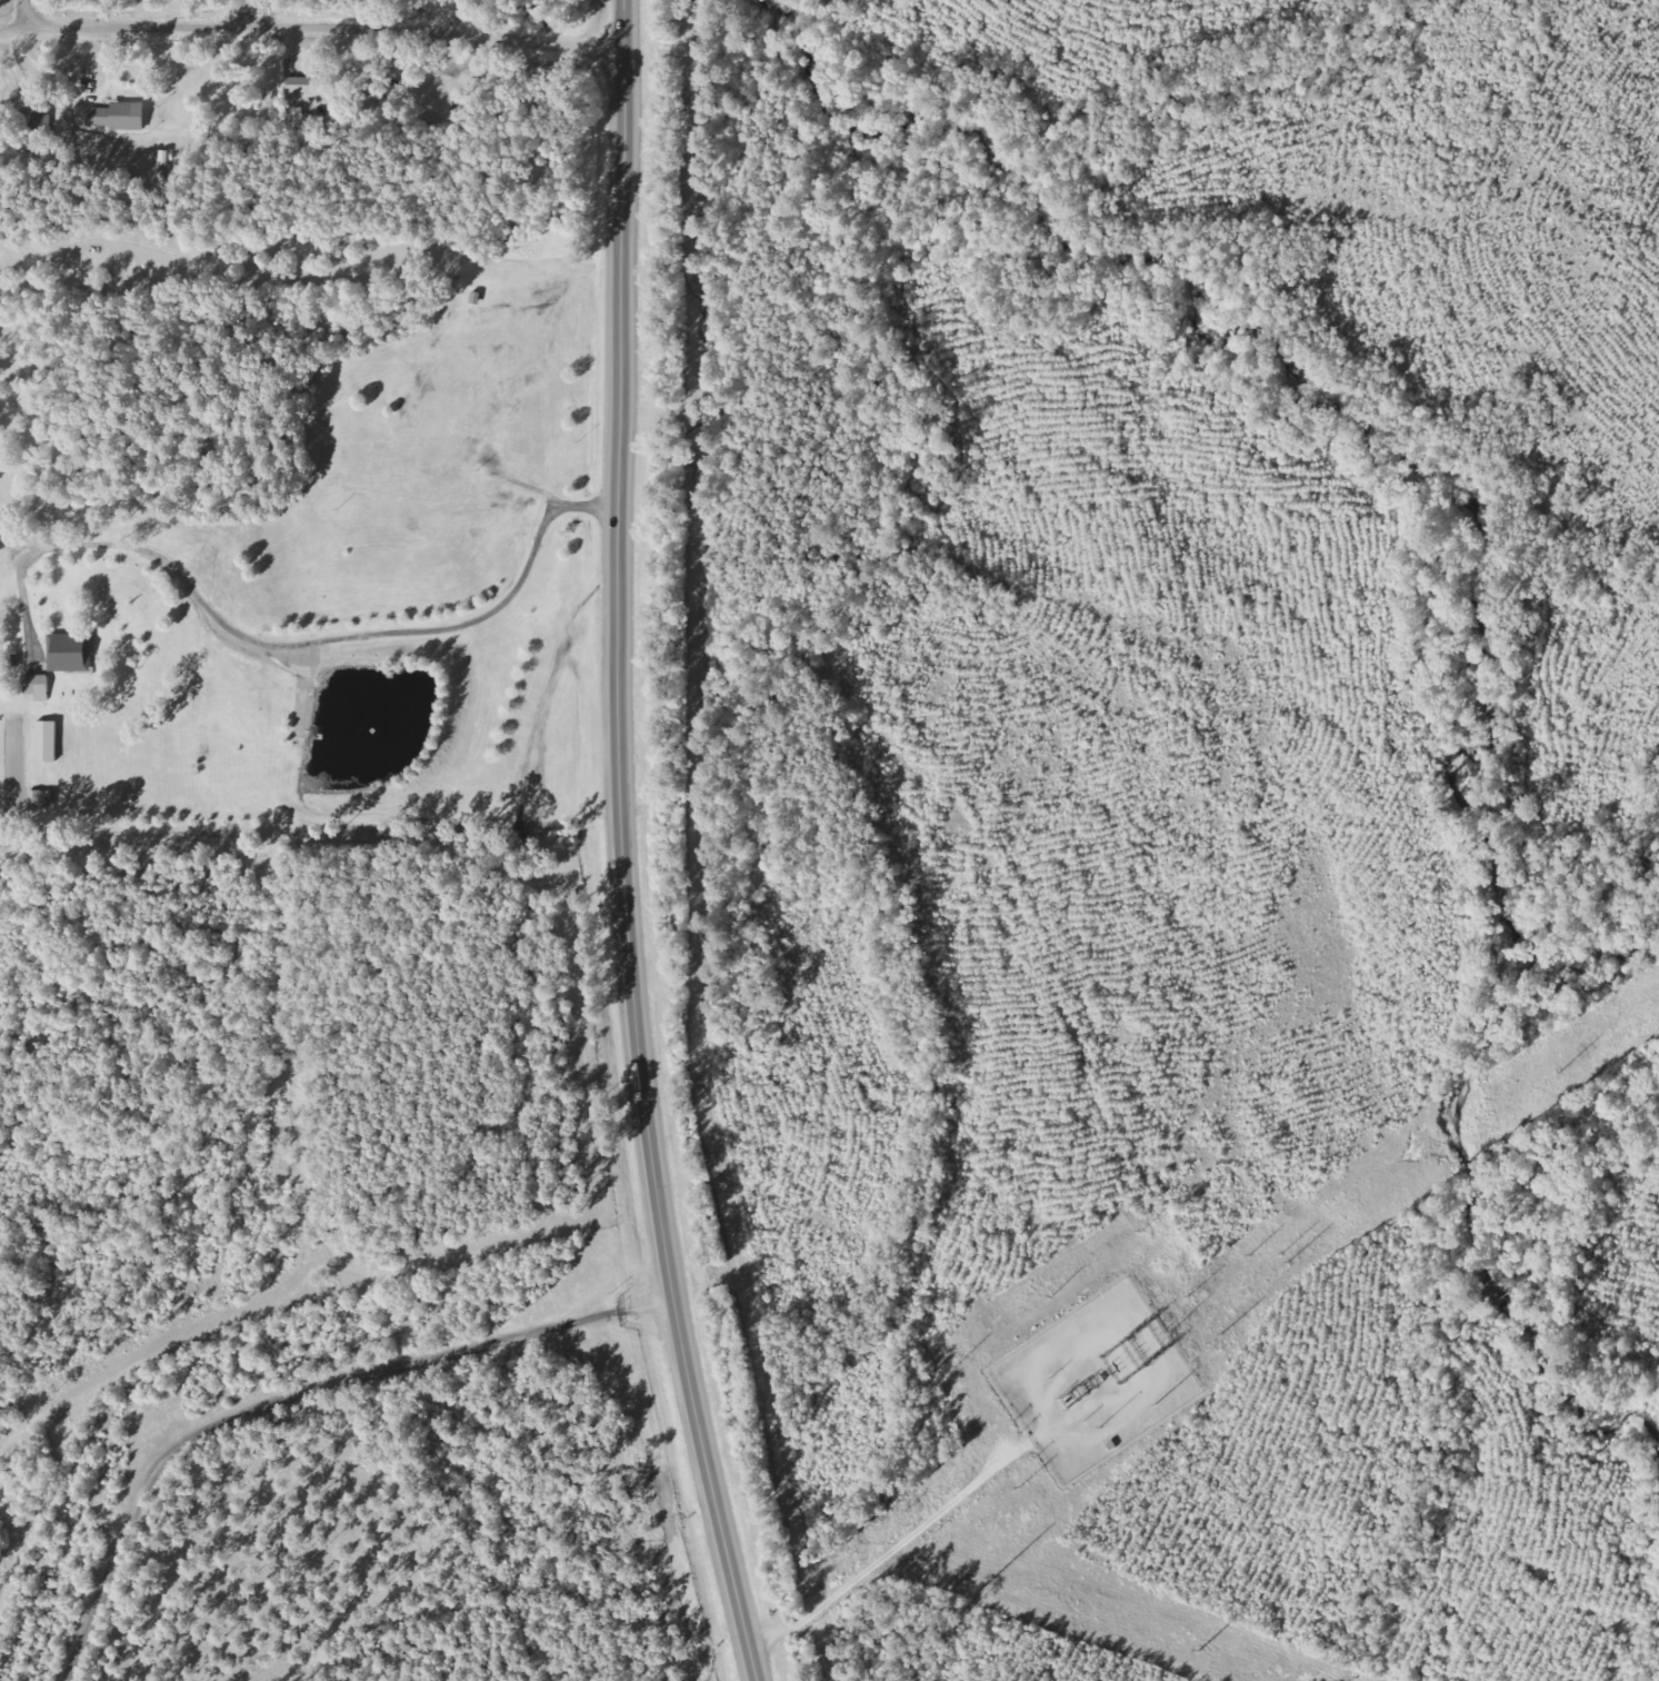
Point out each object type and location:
road: (26, 13)
road: (238, 13)
road: (311, 29)
building: (301, 84)
building: (118, 117)
road: (280, 646)
building: (38, 686)
building: (48, 742)
building: (42, 798)
road: (619, 846)
power substation: (1091, 1382)
road: (293, 1394)

